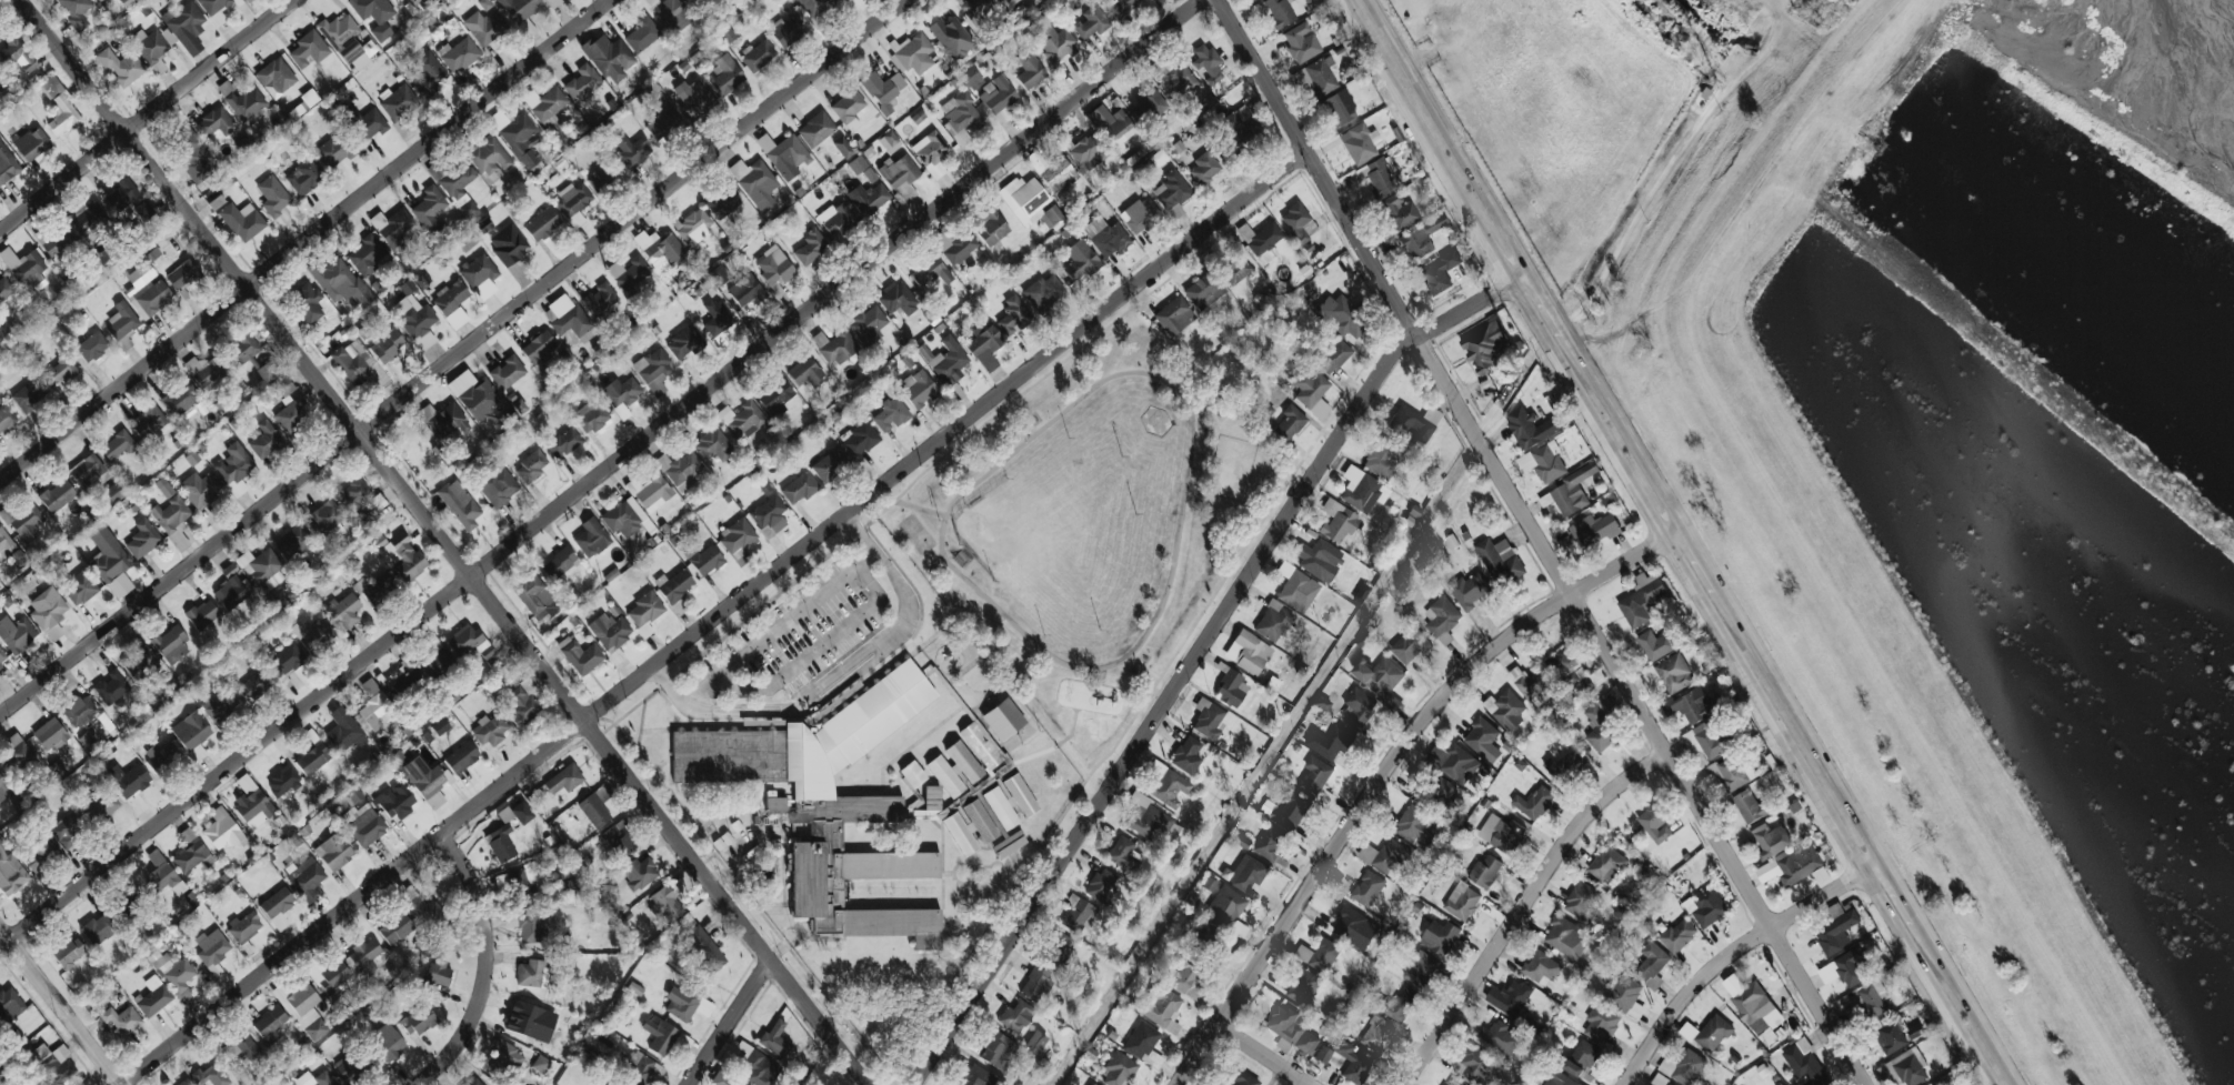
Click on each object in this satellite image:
road: (0, 0)
building: (99, 0)
building: (248, 0)
building: (694, 0)
building: (126, 2)
building: (552, 2)
building: (428, 3)
building: (484, 3)
building: (818, 7)
building: (974, 7)
building: (1120, 7)
building: (214, 9)
building: (520, 9)
building: (76, 11)
building: (671, 11)
building: (1280, 11)
building: (374, 14)
building: (1091, 22)
building: (186, 26)
building: (488, 28)
building: (789, 28)
building: (642, 34)
building: (951, 37)
building: (348, 41)
building: (1301, 42)
building: (1056, 43)
building: (156, 44)
building: (309, 49)
building: (915, 53)
building: (459, 54)
building: (19, 56)
building: (759, 56)
building: (609, 58)
building: (1208, 63)
building: (121, 67)
building: (1029, 70)
building: (430, 72)
building: (727, 74)
building: (970, 76)
building: (1321, 76)
building: (276, 77)
building: (1178, 81)
power tower: (1709, 82)
building: (583, 84)
building: (883, 89)
building: (998, 94)
building: (694, 98)
building: (398, 101)
building: (1150, 103)
building: (248, 104)
building: (545, 104)
building: (60, 106)
building: (849, 108)
building: (1339, 108)
building: (961, 115)
road: (149, 118)
building: (216, 122)
building: (364, 123)
building: (1112, 124)
building: (663, 125)
building: (1244, 127)
building: (815, 129)
road: (1447, 134)
building: (520, 139)
building: (889, 141)
building: (1360, 143)
building: (32, 144)
building: (843, 147)
building: (930, 148)
building: (631, 150)
building: (332, 151)
building: (1089, 151)
building: (194, 157)
building: (490, 157)
road: (1681, 159)
building: (7, 164)
building: (1204, 168)
building: (863, 169)
building: (899, 171)
building: (603, 174)
building: (1058, 174)
building: (304, 175)
building: (457, 179)
building: (1172, 190)
building: (1391, 194)
building: (121, 195)
building: (272, 195)
building: (869, 198)
building: (1024, 199)
building: (573, 200)
building: (216, 202)
building: (722, 202)
building: (429, 207)
building: (468, 208)
building: (144, 210)
building: (1141, 215)
building: (1051, 217)
building: (89, 218)
building: (837, 219)
building: (577, 220)
building: (134, 221)
building: (242, 221)
building: (1299, 223)
building: (483, 224)
building: (542, 224)
building: (694, 228)
building: (991, 228)
building: (393, 230)
building: (1105, 237)
building: (1422, 237)
building: (467, 240)
road: (304, 241)
building: (60, 243)
building: (1264, 243)
building: (508, 244)
building: (661, 247)
building: (810, 248)
building: (960, 248)
building: (367, 254)
building: (1079, 260)
building: (774, 265)
building: (24, 269)
building: (1235, 270)
building: (930, 271)
building: (144, 272)
building: (1440, 272)
building: (629, 273)
building: (182, 274)
building: (480, 275)
building: (340, 282)
building: (4, 289)
building: (745, 290)
building: (1203, 291)
building: (1044, 292)
building: (150, 297)
building: (898, 299)
building: (600, 300)
road: (1546, 300)
building: (307, 301)
building: (451, 303)
building: (1013, 315)
building: (1174, 315)
building: (1341, 315)
building: (567, 318)
building: (715, 318)
building: (415, 320)
building: (122, 324)
building: (869, 324)
building: (683, 342)
building: (387, 345)
building: (1484, 345)
building: (92, 346)
building: (834, 346)
building: (985, 346)
building: (539, 348)
building: (1333, 356)
building: (251, 358)
road: (454, 358)
building: (352, 361)
building: (949, 361)
power tower: (1522, 363)
building: (653, 370)
road: (1085, 370)
building: (59, 372)
building: (204, 372)
building: (507, 372)
building: (805, 372)
building: (283, 385)
building: (919, 388)
building: (1312, 393)
building: (29, 394)
building: (621, 394)
building: (474, 395)
building: (180, 398)
building: (775, 398)
building: (520, 406)
building: (1264, 410)
building: (891, 413)
building: (292, 414)
building: (6, 416)
building: (591, 416)
building: (743, 420)
building: (444, 421)
building: (149, 422)
building: (1413, 422)
building: (1289, 423)
road: (1623, 426)
building: (1529, 428)
building: (859, 439)
building: (264, 440)
building: (563, 442)
building: (118, 444)
building: (713, 445)
road: (955, 446)
building: (191, 458)
building: (1383, 459)
building: (1543, 462)
building: (830, 464)
road: (919, 465)
building: (531, 466)
building: (234, 468)
building: (681, 469)
building: (87, 470)
road: (601, 471)
building: (498, 486)
building: (164, 488)
building: (799, 488)
building: (201, 489)
building: (1361, 489)
building: (1572, 490)
building: (114, 491)
building: (651, 492)
building: (57, 495)
building: (362, 498)
building: (460, 504)
road: (919, 508)
building: (171, 513)
building: (769, 515)
building: (327, 518)
building: (624, 518)
road: (1182, 519)
building: (1338, 521)
building: (27, 522)
park: (1093, 526)
building: (1594, 529)
park: (916, 533)
building: (735, 536)
building: (591, 538)
building: (142, 539)
building: (293, 542)
road: (1540, 543)
road: (1661, 543)
road: (443, 544)
building: (9, 546)
building: (108, 555)
building: (403, 556)
road: (1699, 556)
building: (1319, 559)
building: (707, 560)
building: (1500, 560)
building: (559, 563)
building: (262, 569)
building: (674, 585)
building: (79, 587)
building: (378, 587)
building: (1470, 590)
power tower: (1375, 591)
building: (232, 592)
building: (1360, 593)
building: (535, 597)
building: (1641, 599)
building: (48, 611)
building: (344, 611)
building: (644, 612)
building: (202, 614)
road: (714, 615)
building: (1442, 619)
building: (1273, 621)
road: (777, 629)
building: (610, 631)
building: (17, 634)
building: (313, 635)
building: (469, 641)
building: (171, 644)
building: (1655, 644)
building: (1409, 645)
road: (813, 650)
building: (1248, 652)
road: (1196, 653)
building: (580, 655)
building: (2, 659)
building: (138, 660)
building: (287, 660)
building: (437, 662)
building: (1566, 665)
building: (1673, 673)
building: (1379, 675)
road: (837, 676)
road: (1099, 681)
building: (403, 683)
building: (1531, 684)
building: (254, 685)
building: (111, 686)
building: (1231, 689)
building: (219, 705)
building: (520, 705)
building: (1690, 705)
building: (375, 706)
building: (1358, 709)
building: (1505, 709)
building: (80, 711)
building: (1003, 719)
building: (1209, 720)
building: (1601, 725)
road: (1802, 725)
building: (440, 726)
building: (343, 730)
building: (490, 730)
road: (1072, 730)
building: (191, 733)
building: (52, 736)
building: (90, 739)
building: (1706, 740)
building: (1483, 741)
building: (1329, 742)
building: (981, 744)
building: (1186, 755)
building: (160, 757)
building: (461, 757)
building: (19, 759)
building: (313, 759)
building: (1453, 762)
road: (1389, 766)
building: (1563, 767)
building: (954, 768)
building: (1730, 772)
building: (912, 774)
building: (1314, 776)
building: (129, 778)
building: (564, 780)
building: (283, 781)
building: (427, 781)
building: (3, 790)
building: (1020, 795)
building: (352, 797)
building: (397, 800)
building: (1533, 802)
building: (101, 803)
building: (827, 804)
building: (930, 804)
building: (595, 806)
building: (1749, 806)
building: (253, 807)
building: (1000, 807)
power tower: (1231, 808)
building: (1292, 810)
building: (517, 813)
building: (1153, 821)
building: (1655, 822)
building: (364, 825)
building: (970, 827)
building: (1415, 827)
building: (221, 828)
building: (67, 830)
building: (1501, 833)
building: (1770, 838)
building: (500, 843)
building: (617, 843)
building: (1270, 843)
building: (334, 851)
building: (190, 852)
building: (38, 855)
building: (1390, 855)
road: (737, 861)
building: (1606, 864)
building: (1793, 866)
building: (9, 871)
building: (1485, 871)
building: (639, 873)
building: (1246, 873)
building: (162, 876)
building: (305, 877)
building: (527, 881)
building: (1100, 884)
building: (1368, 888)
road: (1902, 890)
building: (1581, 901)
building: (1462, 902)
building: (667, 903)
building: (124, 905)
road: (1523, 905)
building: (1225, 906)
building: (278, 907)
building: (423, 907)
building: (1705, 907)
building: (1079, 916)
building: (244, 926)
building: (528, 927)
building: (1354, 927)
building: (99, 928)
building: (395, 928)
building: (1836, 930)
building: (1677, 935)
building: (1439, 937)
building: (1566, 937)
building: (1206, 940)
building: (422, 946)
building: (211, 947)
building: (703, 948)
building: (1058, 948)
road: (1732, 948)
building: (68, 953)
building: (364, 954)
building: (1319, 955)
building: (1651, 964)
road: (489, 965)
building: (1849, 966)
building: (1541, 967)
building: (1420, 968)
building: (173, 970)
building: (1183, 971)
building: (532, 973)
building: (329, 974)
building: (438, 974)
building: (1035, 983)
building: (1303, 986)
building: (1624, 992)
building: (152, 996)
building: (1511, 999)
building: (1869, 999)
road: (1968, 1001)
building: (682, 1002)
building: (1402, 1005)
road: (61, 1007)
building: (1161, 1009)
building: (305, 1012)
building: (1757, 1012)
building: (1016, 1016)
building: (417, 1019)
building: (122, 1021)
building: (530, 1021)
road: (724, 1021)
building: (1601, 1022)
building: (270, 1024)
building: (1292, 1028)
building: (1707, 1033)
building: (1378, 1034)
building: (660, 1035)
building: (1502, 1036)
building: (1890, 1037)
building: (775, 1038)
building: (1035, 1041)
building: (387, 1042)
power tower: (1079, 1046)
building: (239, 1049)
building: (998, 1051)
road: (1264, 1055)
building: (504, 1057)
building: (1582, 1057)
building: (1344, 1061)
building: (540, 1063)
building: (1473, 1064)
building: (1805, 1064)
building: (1683, 1067)
building: (344, 1068)
building: (760, 1068)
building: (1120, 1069)
building: (1903, 1069)
building: (645, 1071)
building: (61, 1073)
building: (212, 1075)
building: (976, 1076)
building: (1243, 1078)
building: (315, 1079)
building: (722, 1079)
building: (1557, 1079)
building: (1660, 1081)
building: (474, 1082)
building: (29, 1083)
building: (187, 1083)
building: (1450, 1083)
building: (1091, 1084)
building: (1932, 1084)

